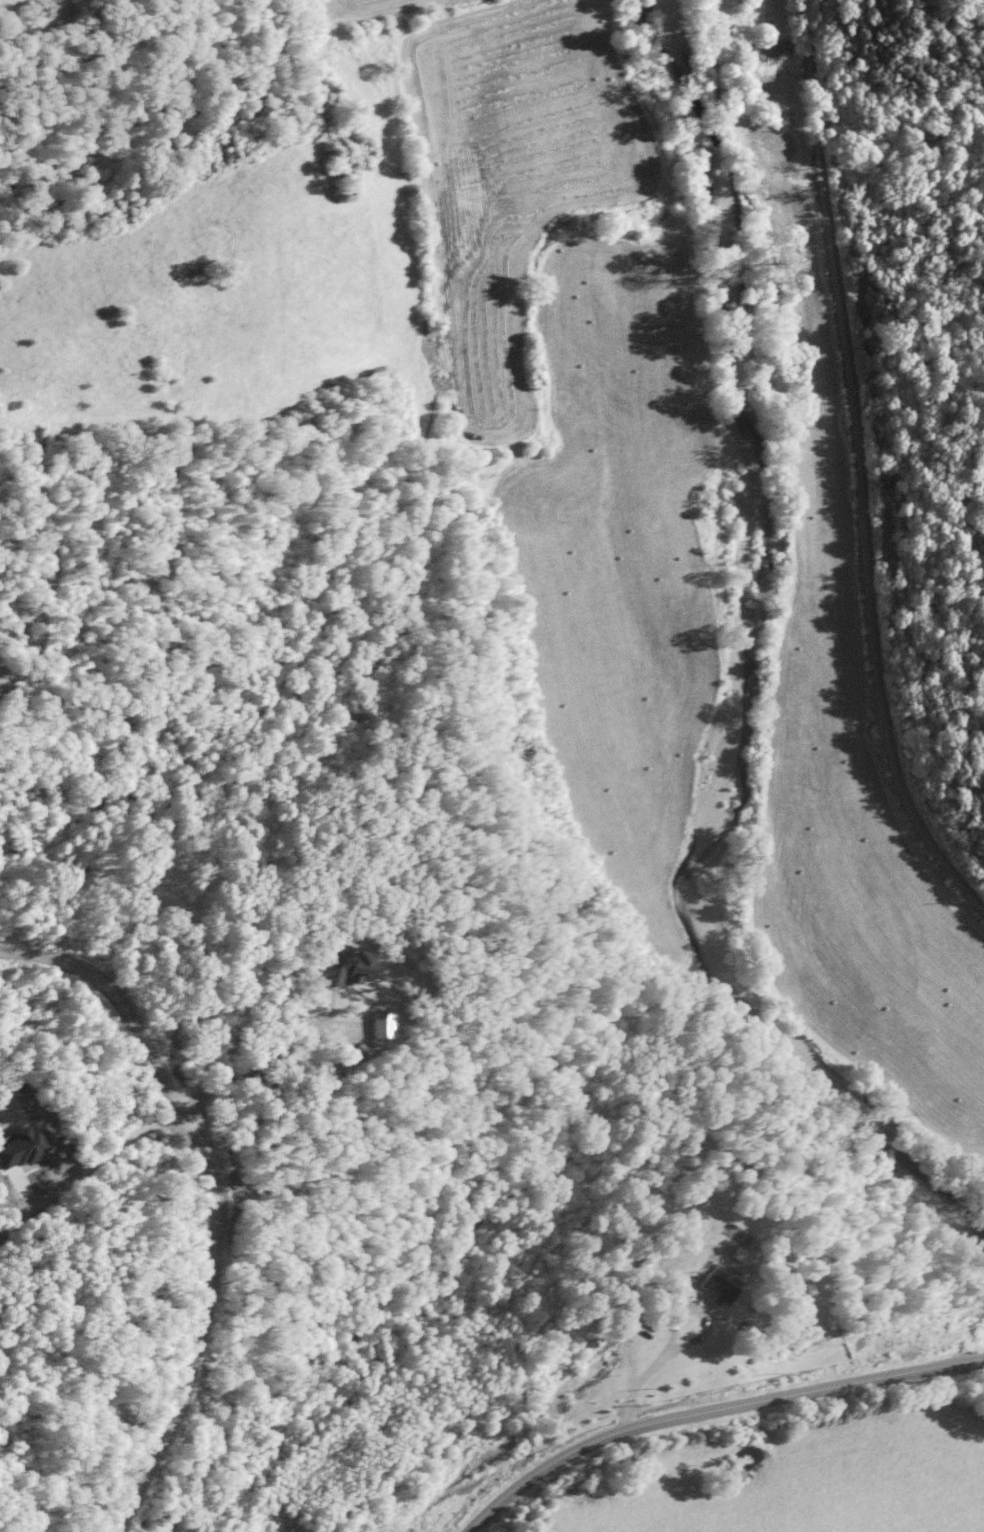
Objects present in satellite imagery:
road: (858, 469)
building: (341, 966)
building: (374, 1024)
building: (18, 1147)
road: (206, 1199)
building: (732, 1253)
building: (709, 1288)
road: (712, 1409)

